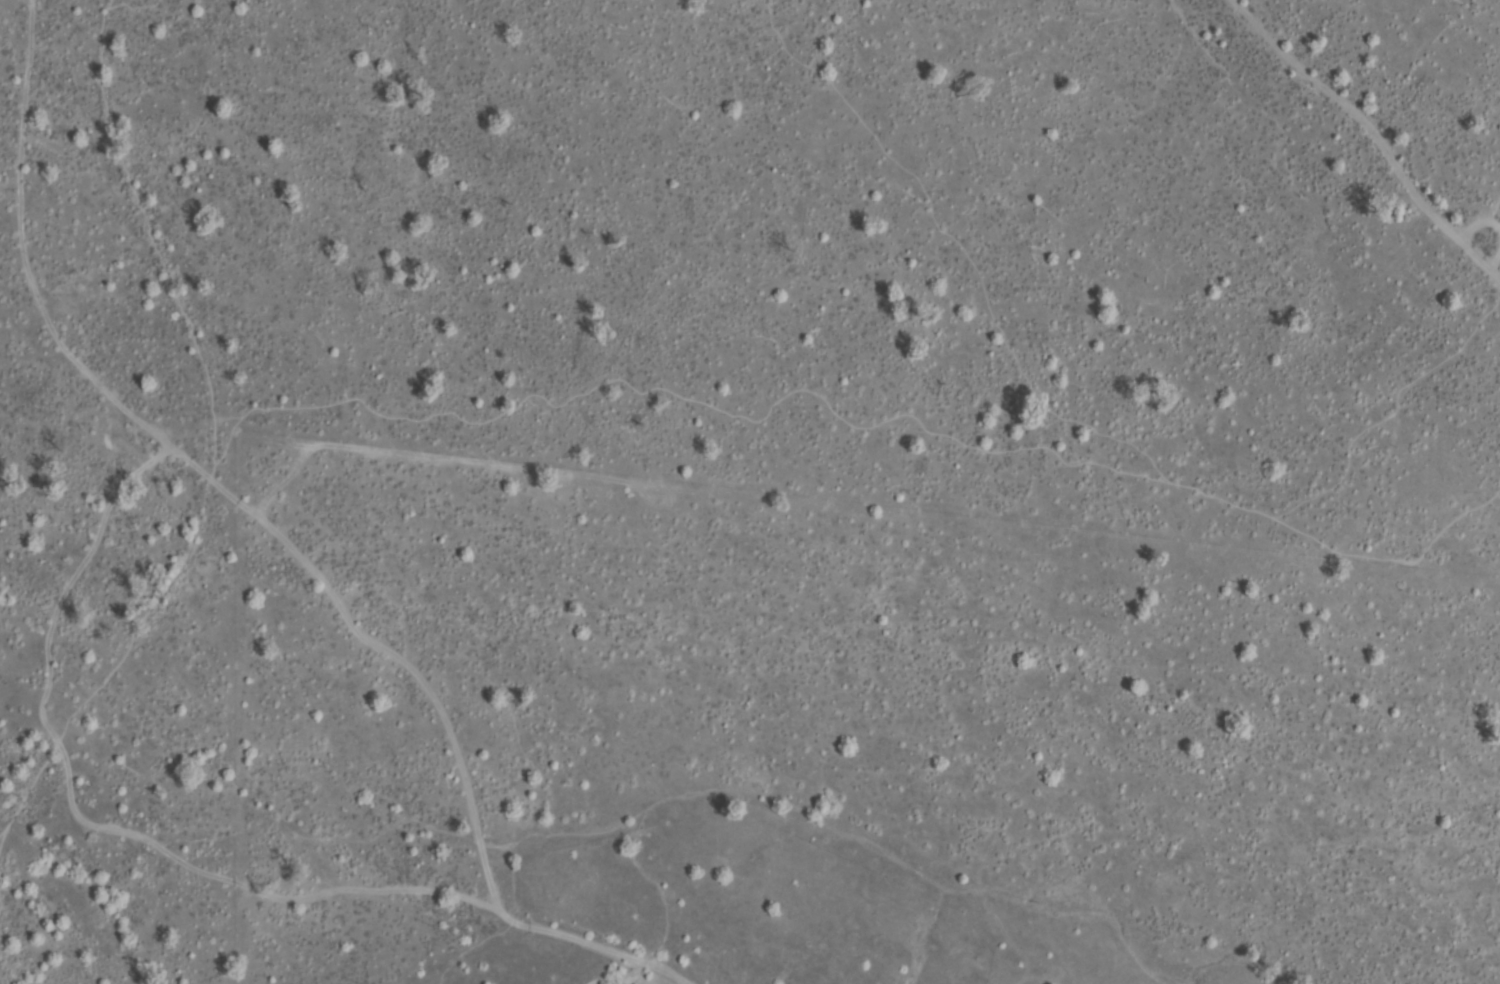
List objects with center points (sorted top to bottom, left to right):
road: (1374, 131)
road: (1481, 220)
road: (1409, 390)
road: (743, 418)
road: (212, 474)
road: (1308, 540)
road: (152, 615)
road: (25, 788)
road: (91, 827)
road: (593, 944)

